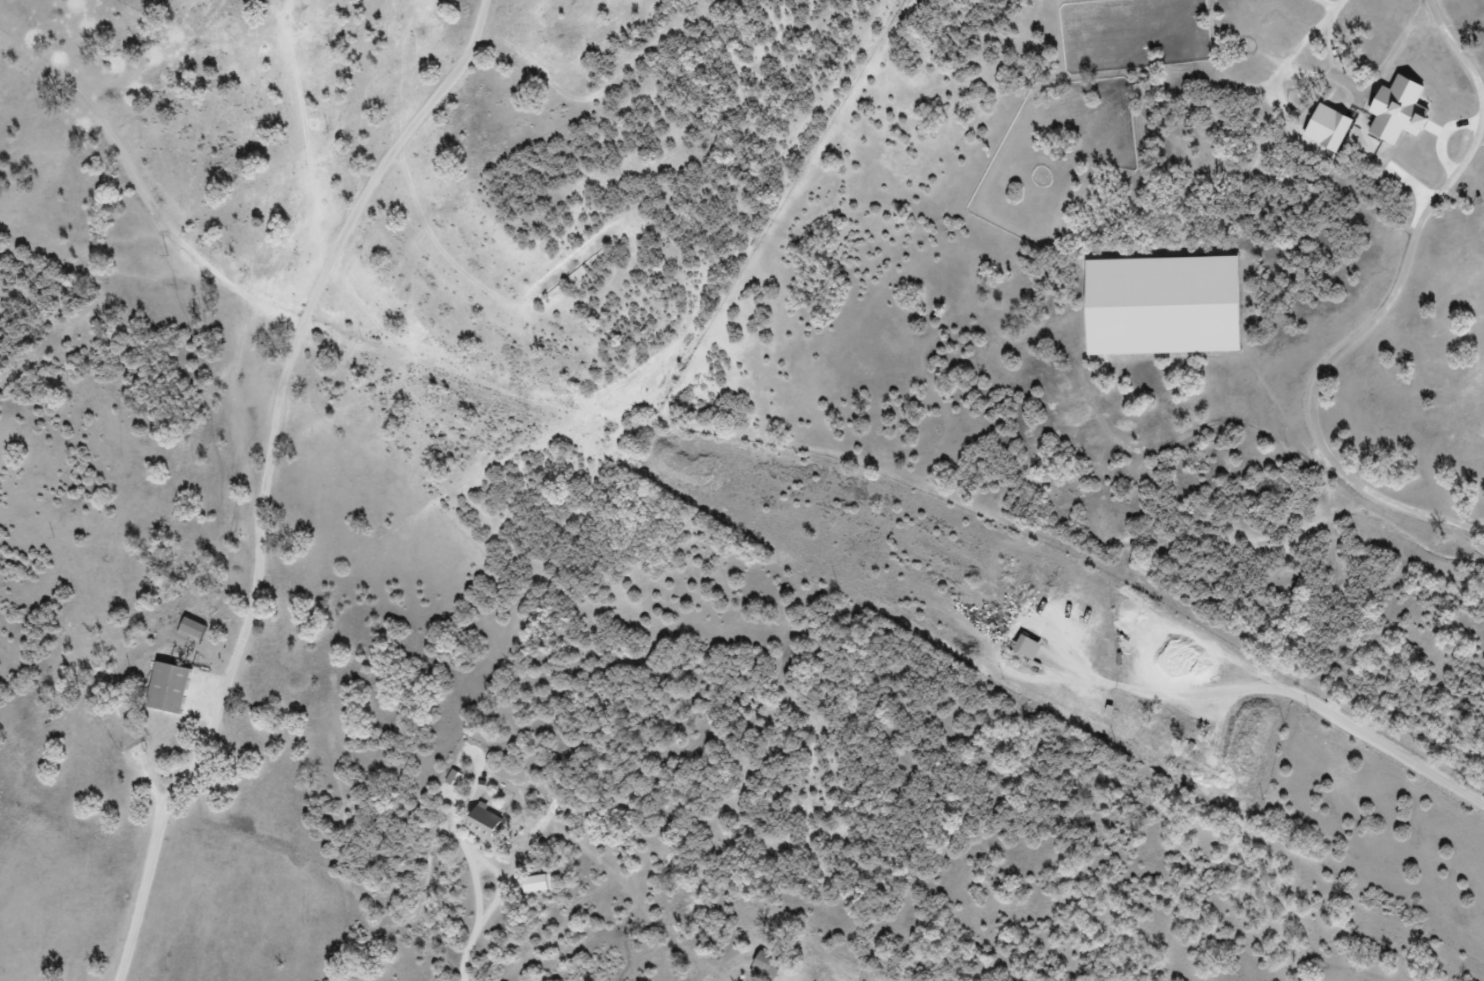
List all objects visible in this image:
building: (1377, 117)
building: (1169, 300)
building: (184, 632)
building: (169, 691)
road: (1325, 712)
building: (476, 826)
road: (489, 866)
road: (467, 953)
building: (758, 969)

